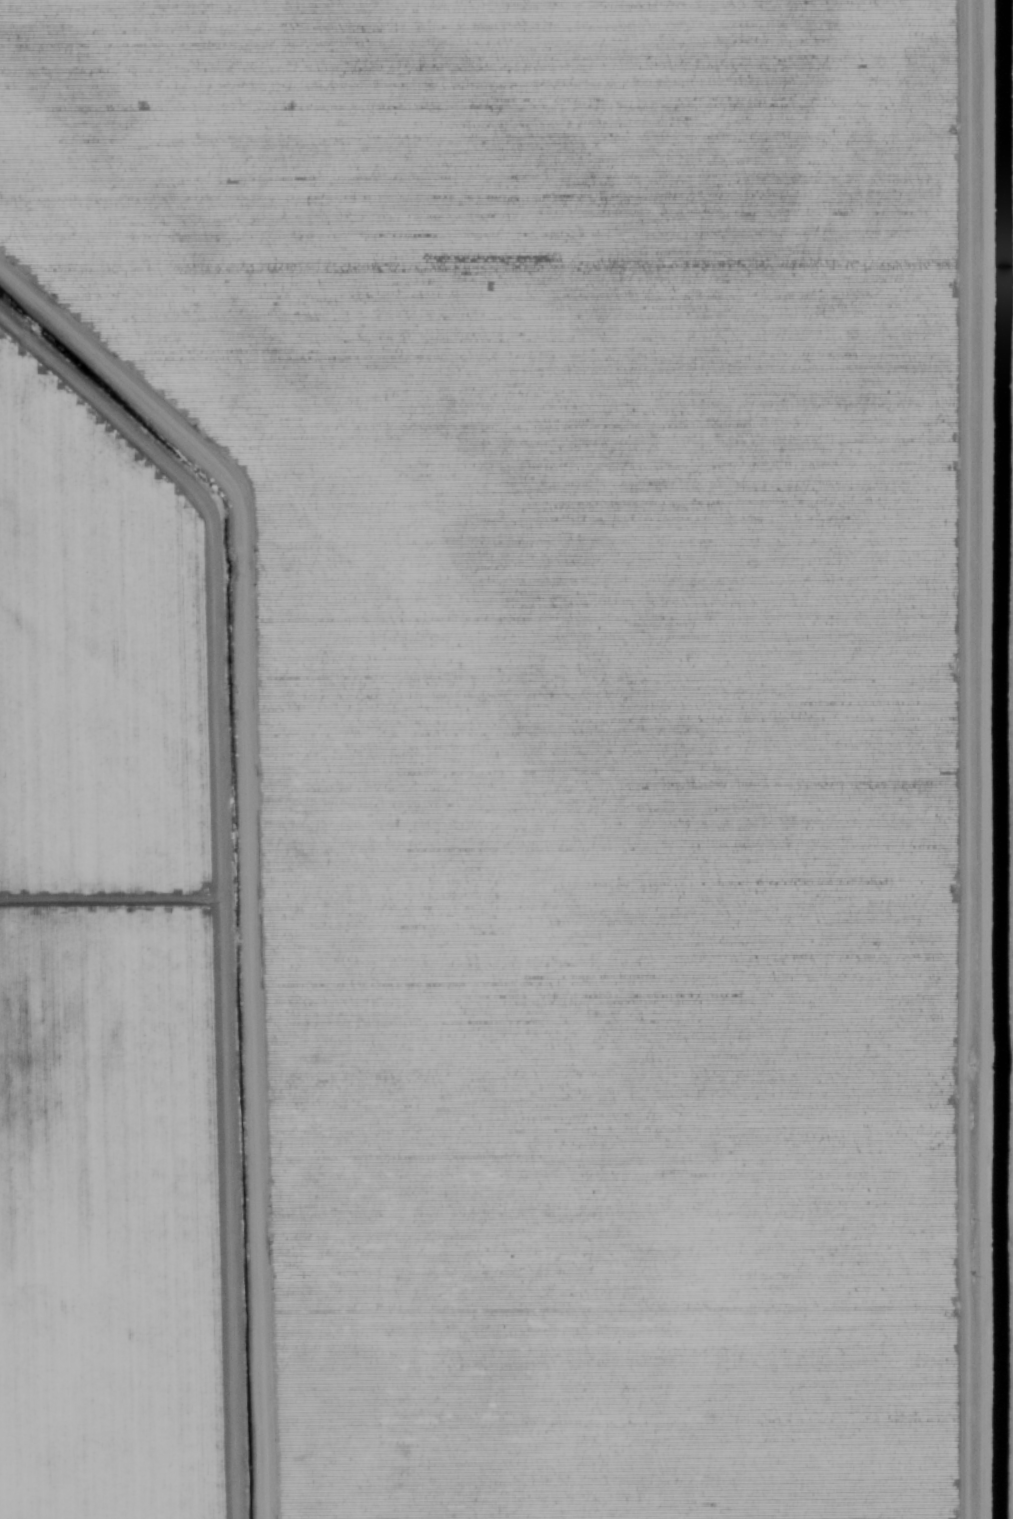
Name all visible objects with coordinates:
crop: (598, 709)
crop: (109, 973)

